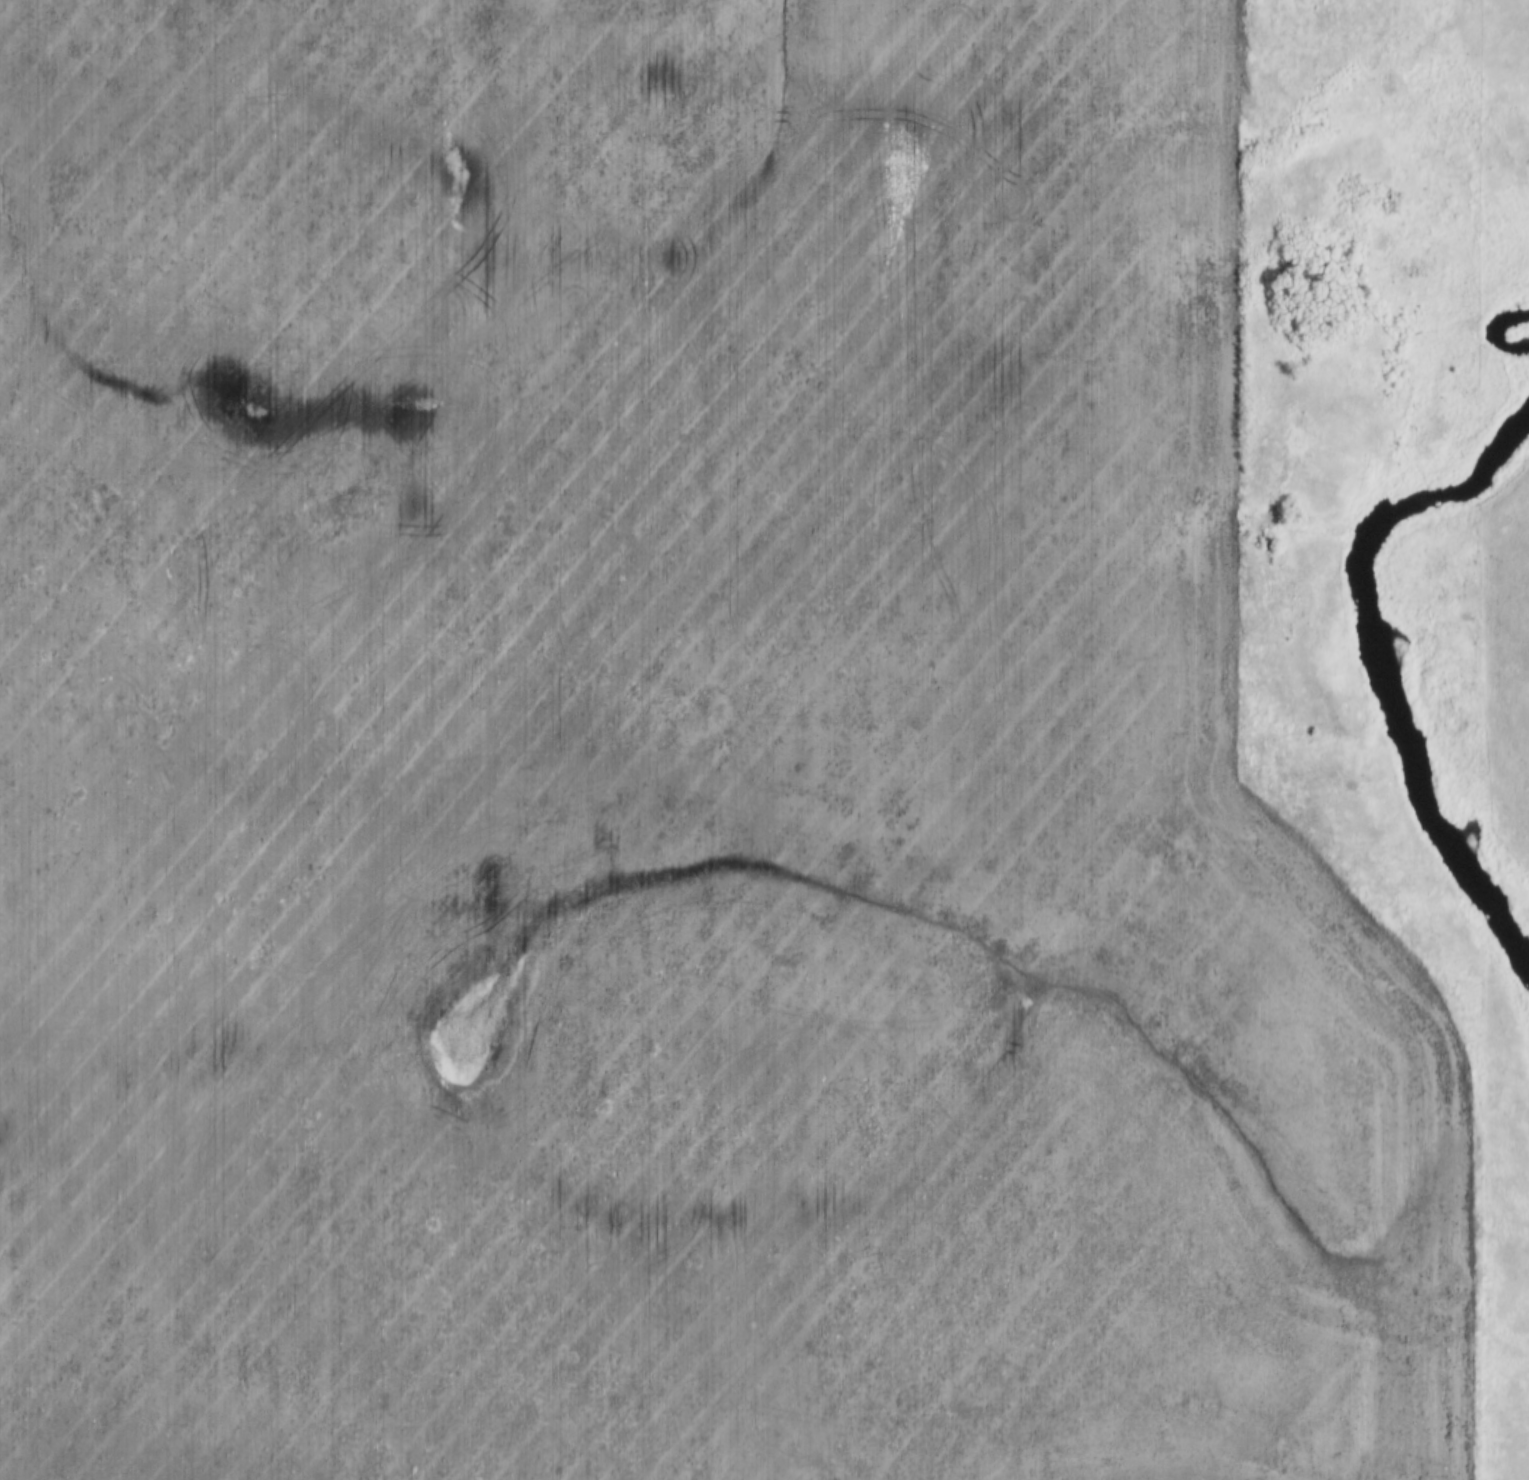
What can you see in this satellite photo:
river: (1479, 335)
river: (1369, 665)

